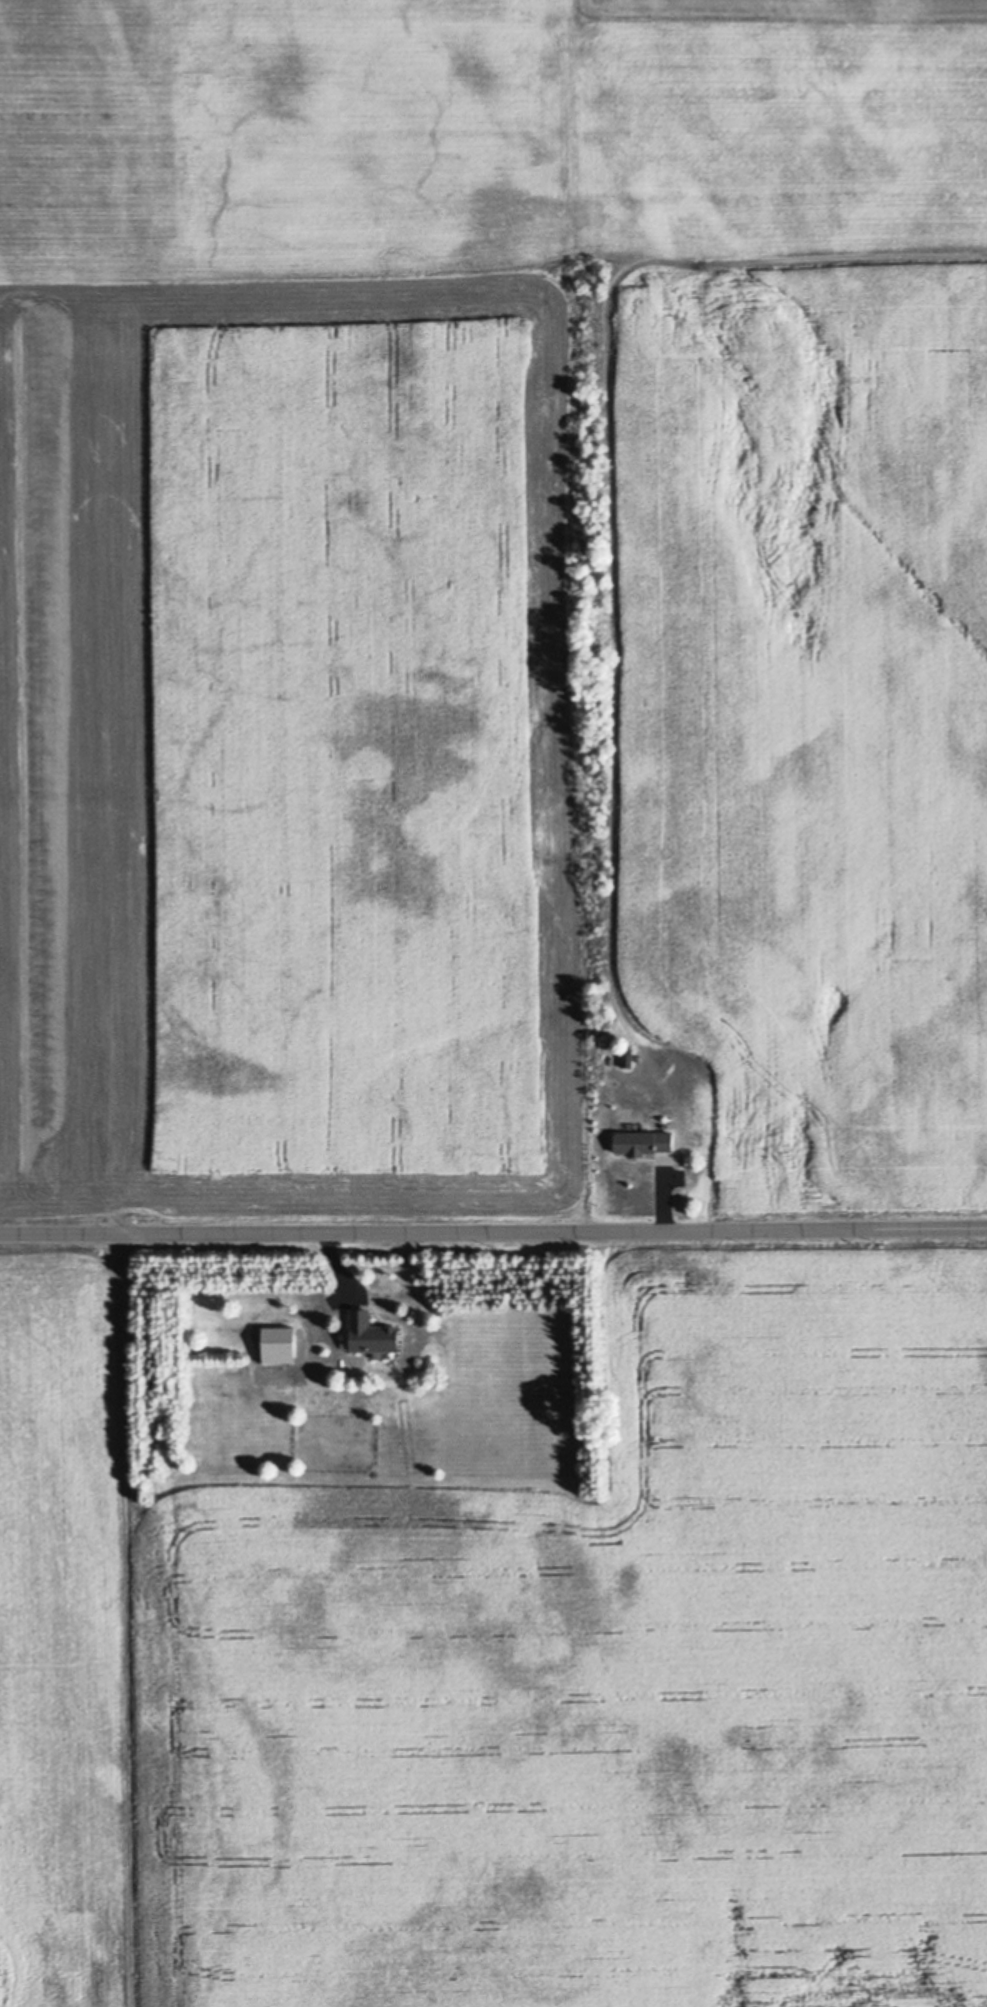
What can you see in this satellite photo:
building: (645, 1142)
road: (663, 1196)
road: (493, 1230)
road: (334, 1258)
building: (375, 1335)
building: (281, 1345)

